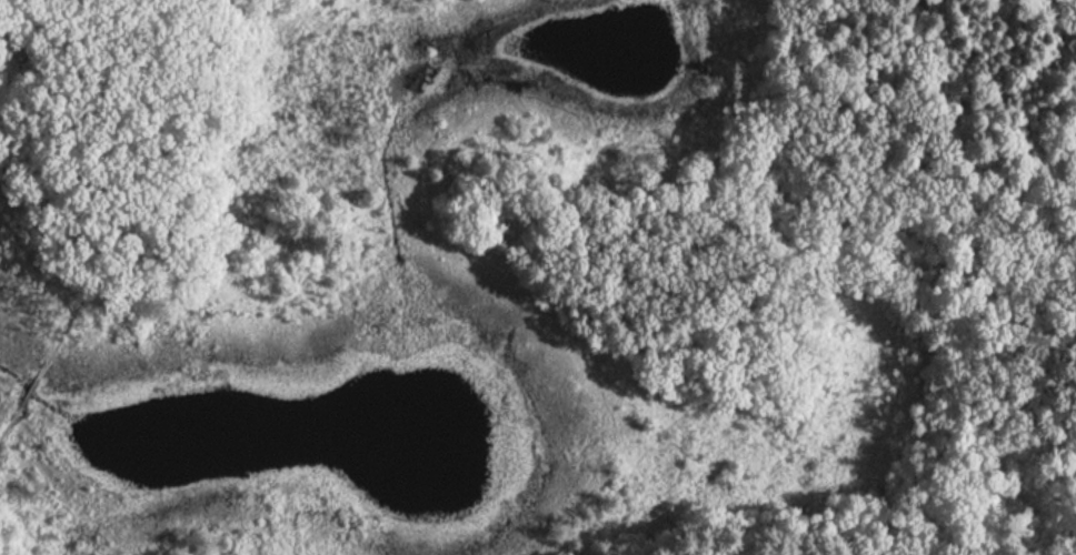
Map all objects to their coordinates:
road: (59, 94)
road: (150, 150)
park: (538, 277)
road: (41, 371)
road: (914, 543)

